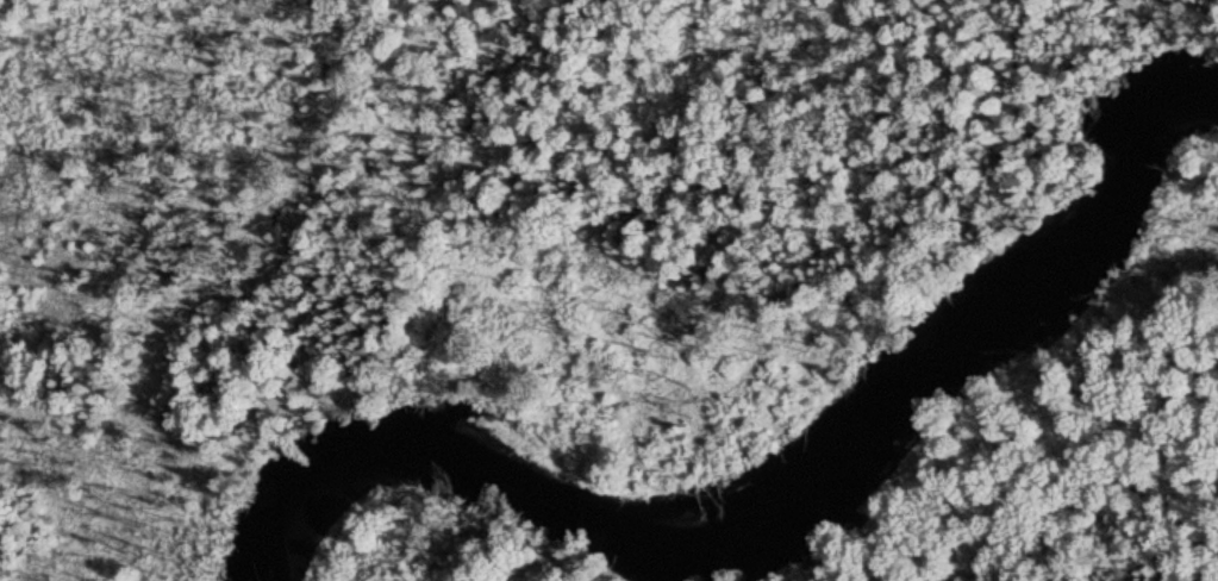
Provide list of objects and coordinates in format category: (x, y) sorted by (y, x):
river: (788, 521)

